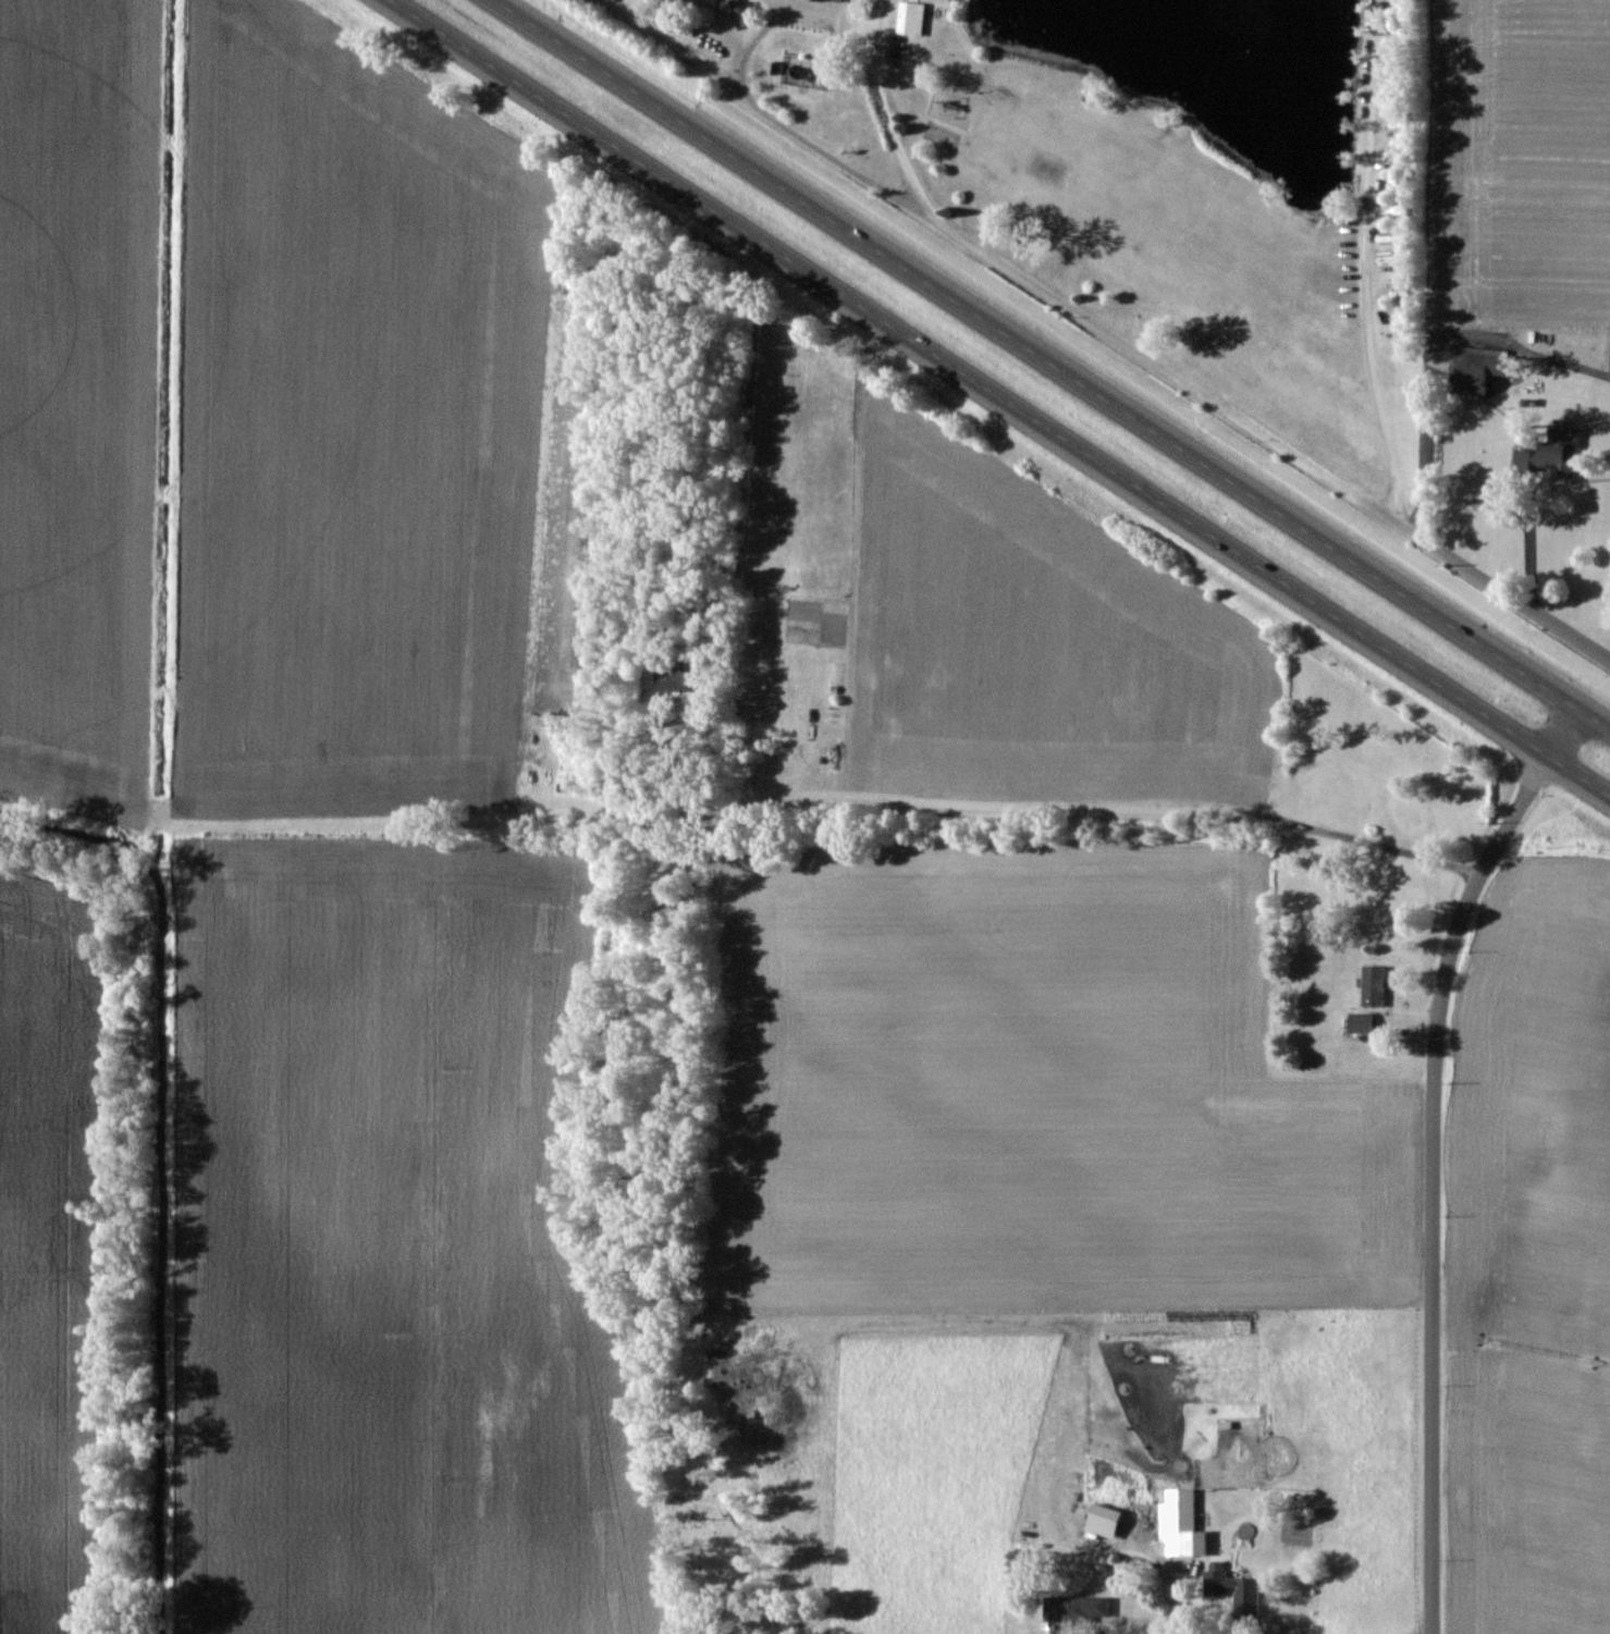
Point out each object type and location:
building: (836, 0)
building: (909, 19)
road: (832, 22)
road: (781, 125)
road: (1363, 261)
road: (1070, 303)
road: (1430, 346)
road: (1052, 364)
building: (1478, 369)
road: (1000, 397)
building: (1554, 452)
road: (1529, 548)
road: (1503, 589)
building: (674, 680)
road: (1067, 800)
building: (1372, 985)
building: (1359, 1022)
road: (1435, 1153)
building: (1179, 1523)
building: (1232, 1592)
building: (1073, 1608)
road: (1216, 1617)
road: (1099, 1625)

